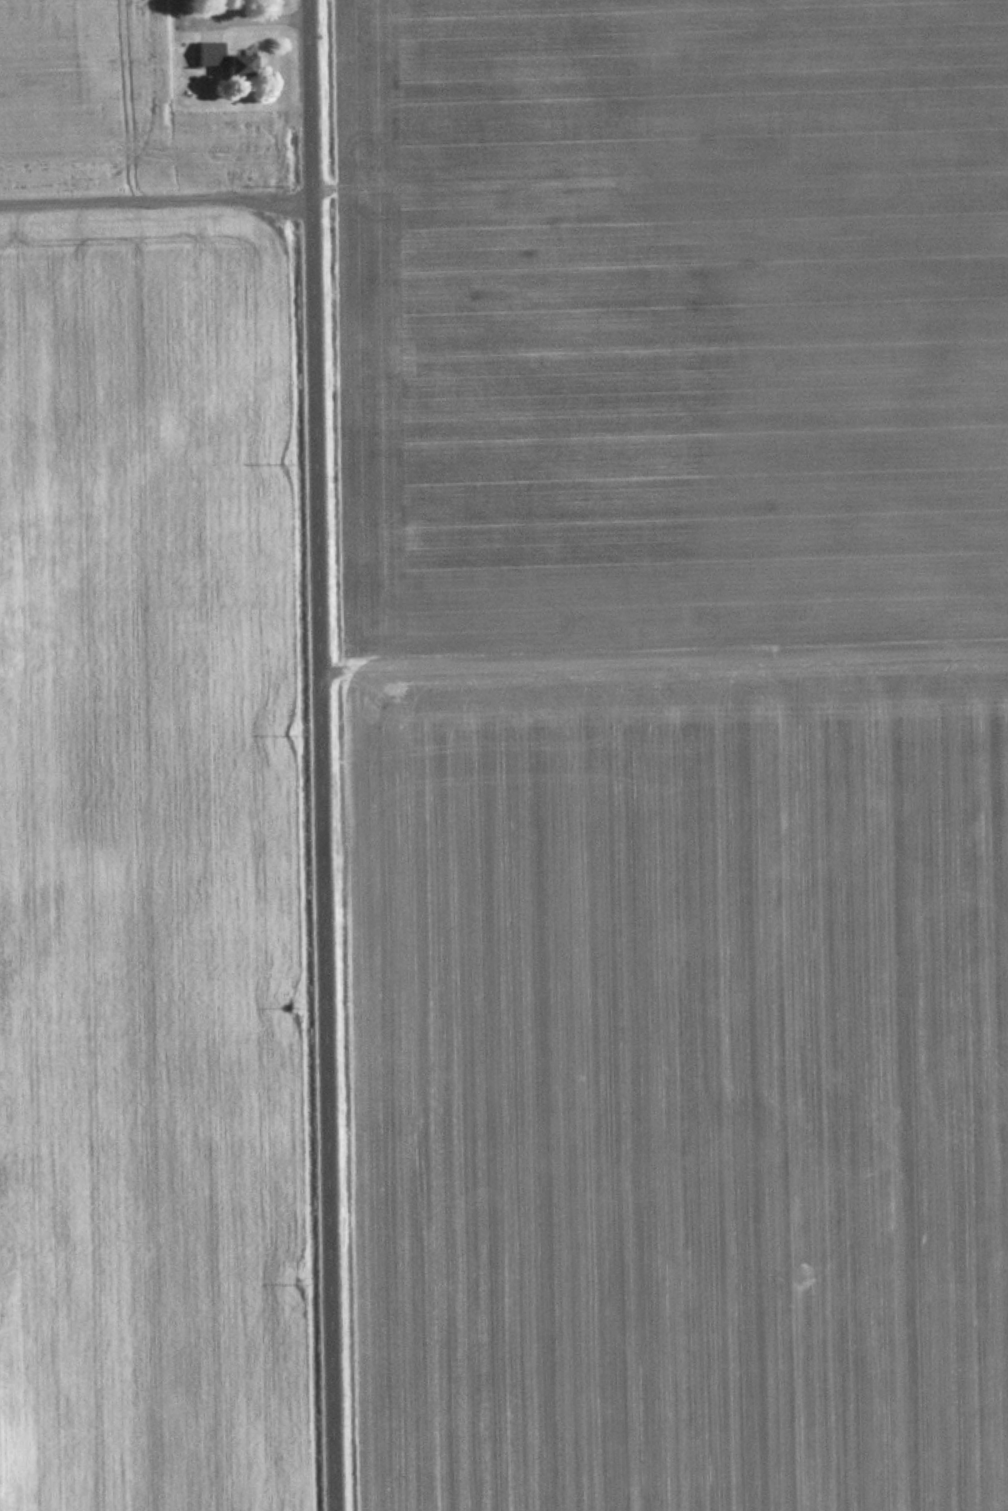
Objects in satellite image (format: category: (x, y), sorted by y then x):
building: (223, 58)
road: (159, 191)
road: (329, 755)

